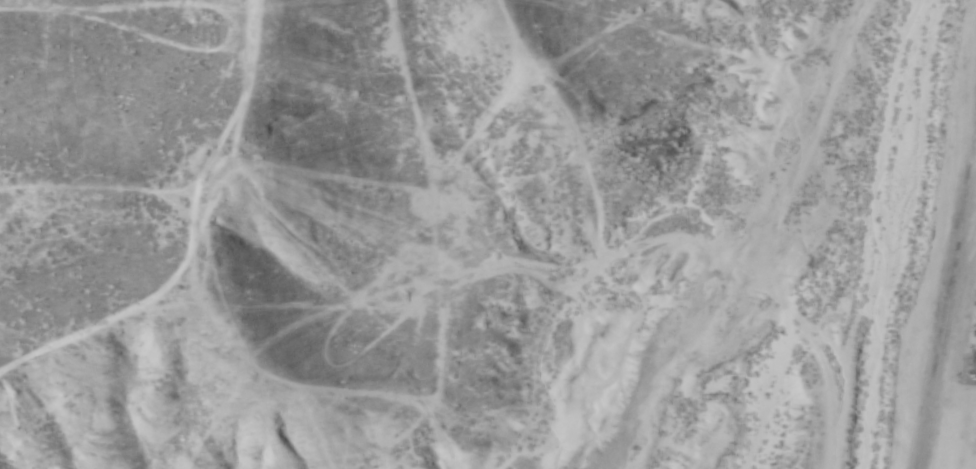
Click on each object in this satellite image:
airport: (950, 297)

